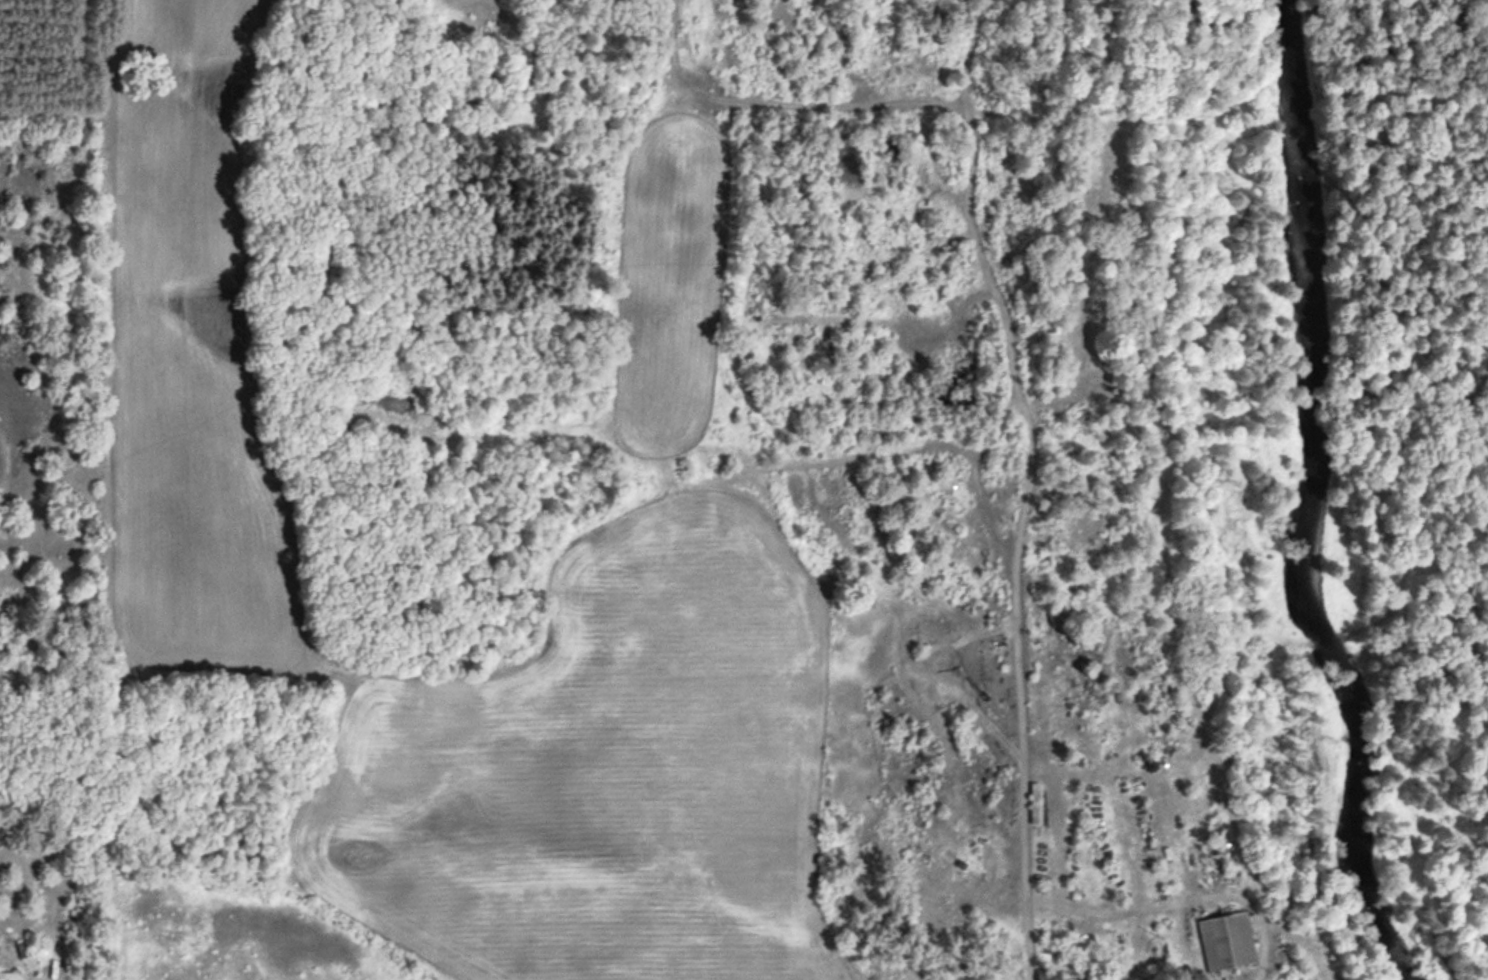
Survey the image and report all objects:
river: (1357, 495)
building: (946, 866)
building: (1224, 938)
building: (1043, 973)
building: (8, 974)

